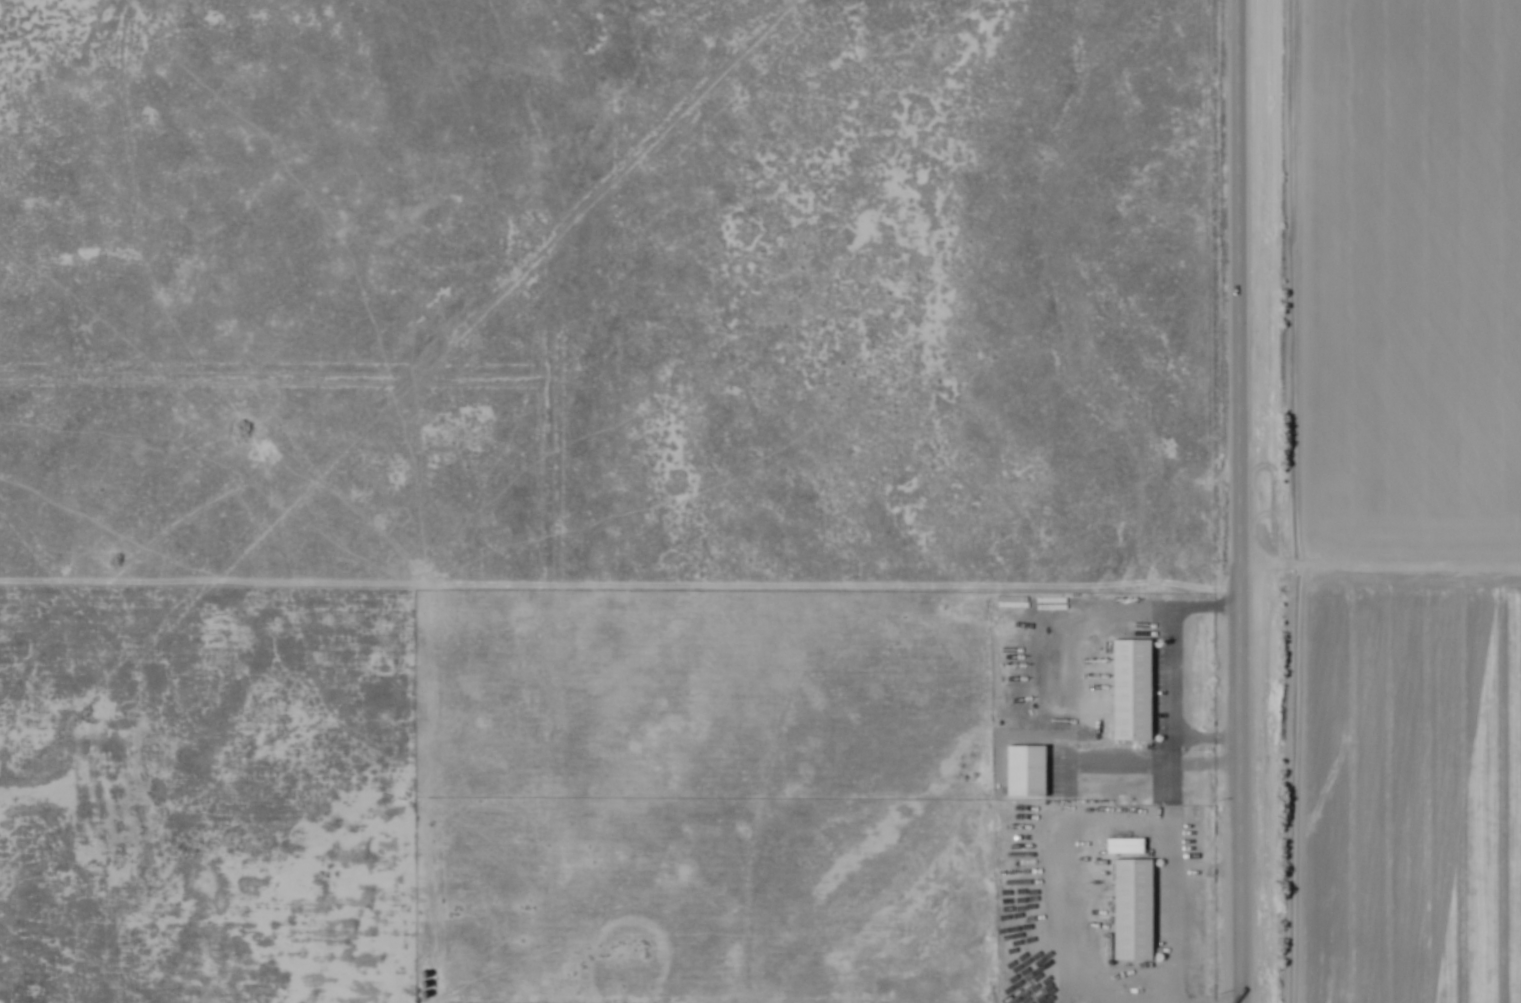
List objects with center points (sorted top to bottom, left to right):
crop: (1368, 499)
road: (1237, 501)
road: (1172, 674)
building: (1132, 690)
road: (1093, 824)
building: (1133, 909)
road: (629, 925)

